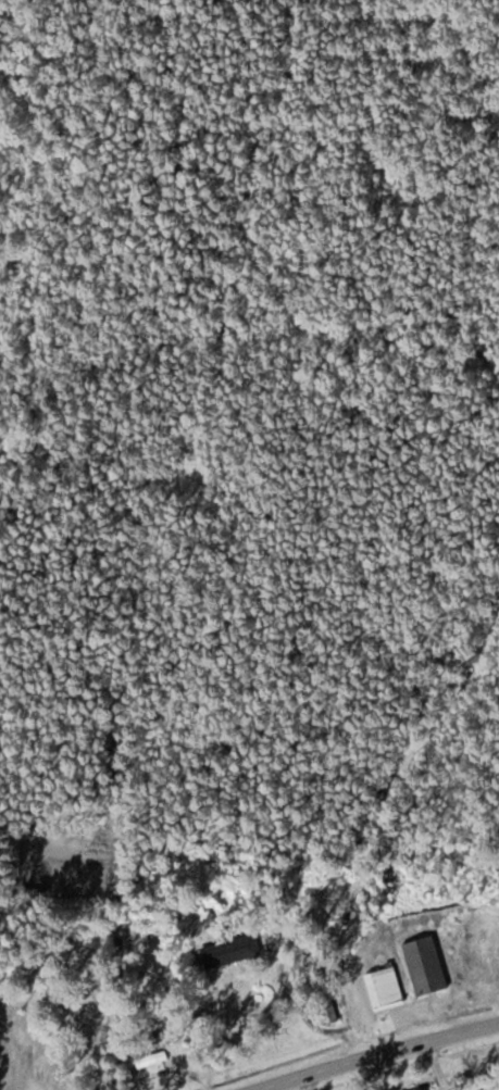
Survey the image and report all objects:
building: (232, 949)
building: (426, 965)
building: (384, 986)
building: (87, 1011)
building: (330, 1014)
road: (377, 1049)
building: (152, 1058)
building: (425, 1089)

